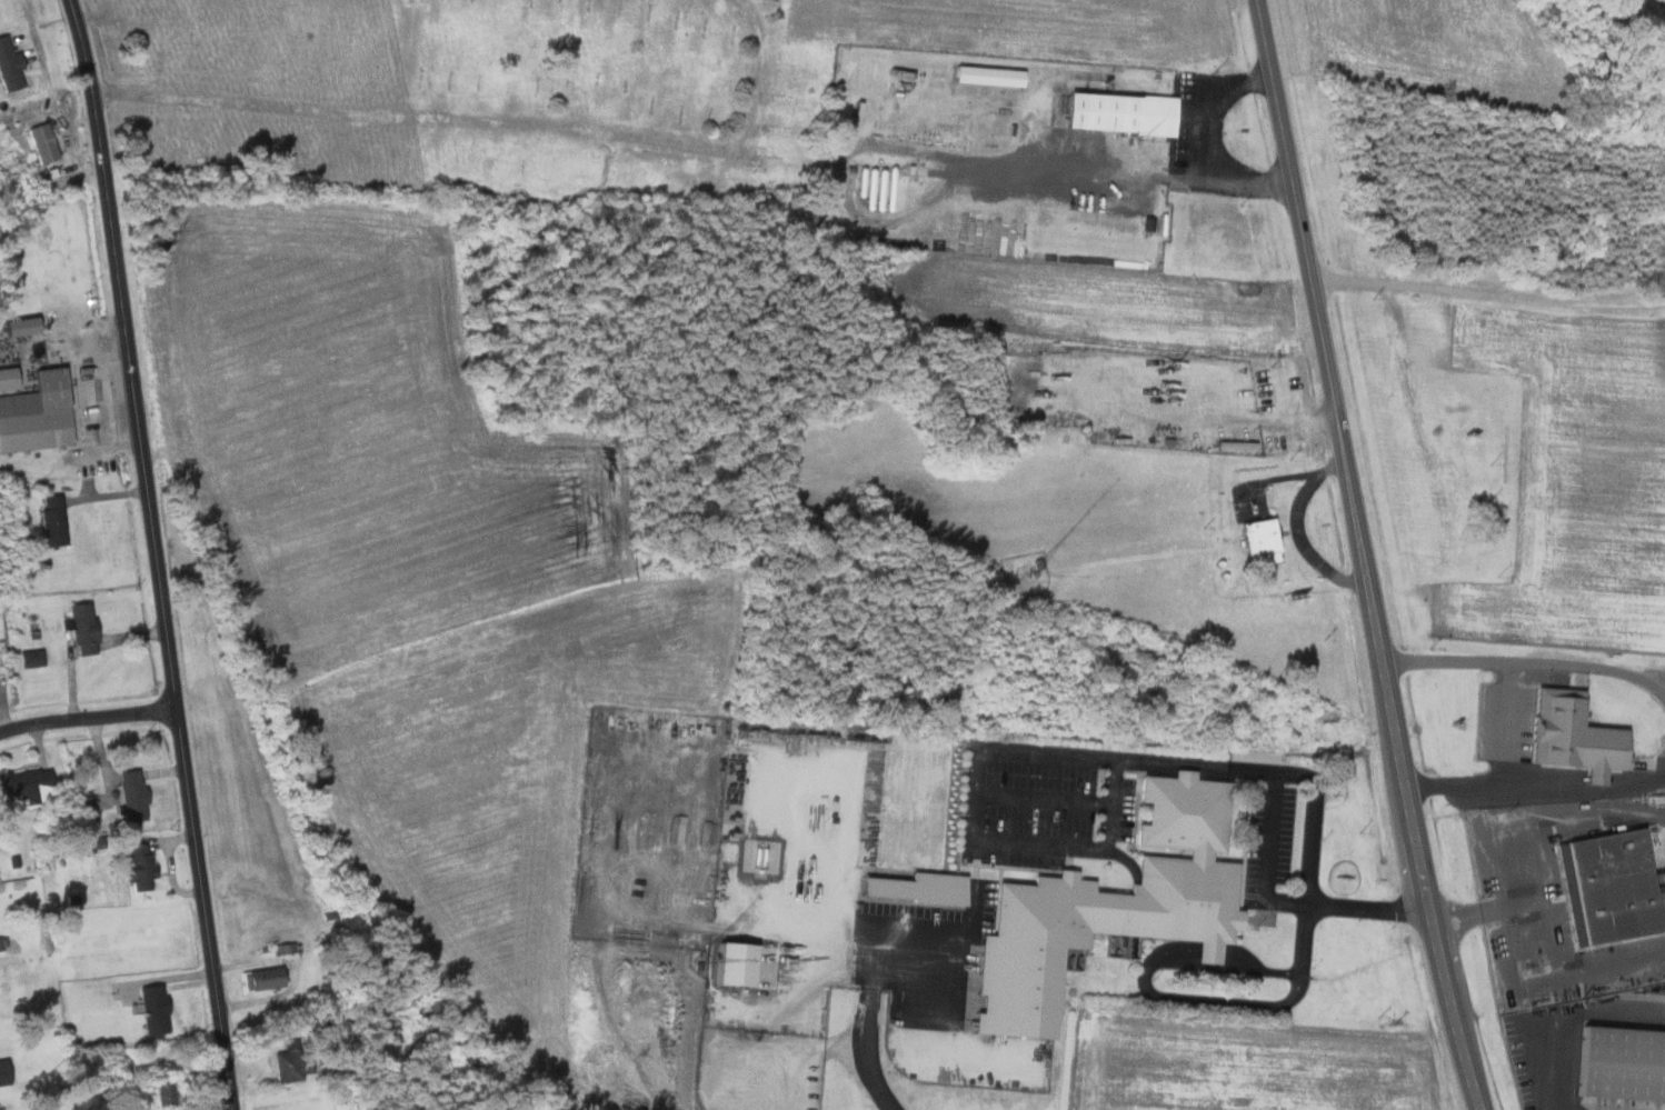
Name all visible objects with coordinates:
building: (9, 67)
building: (1118, 111)
building: (41, 141)
road: (1490, 292)
building: (6, 377)
building: (34, 413)
building: (51, 520)
building: (1259, 540)
road: (156, 553)
road: (1368, 556)
building: (80, 628)
building: (29, 657)
road: (88, 719)
building: (1572, 736)
building: (26, 784)
building: (130, 794)
road: (1317, 801)
road: (973, 838)
building: (136, 866)
building: (1611, 884)
building: (915, 888)
building: (1109, 906)
building: (730, 963)
building: (261, 978)
road: (871, 993)
building: (151, 1009)
building: (1621, 1063)
building: (285, 1066)
building: (3, 1072)
building: (152, 1093)

